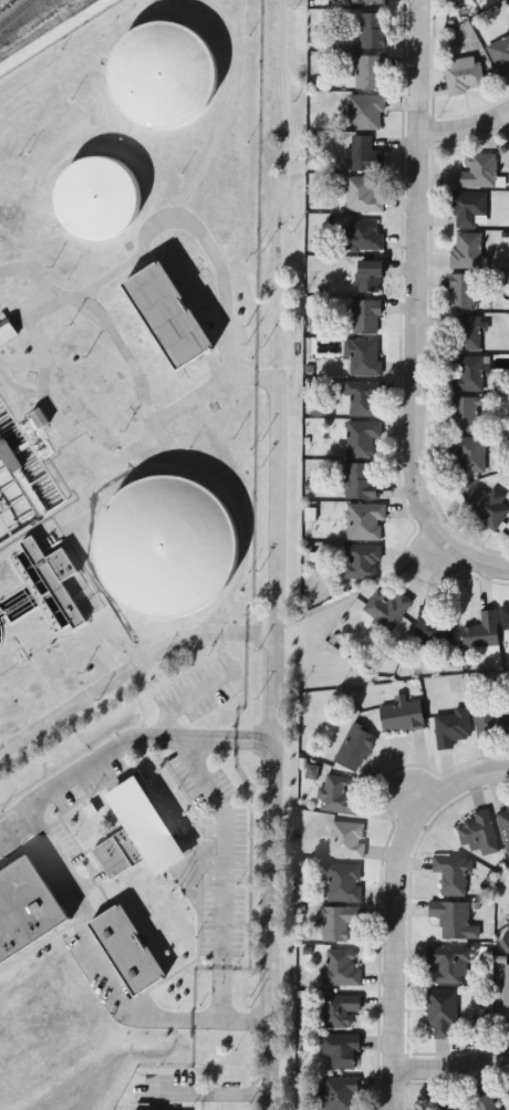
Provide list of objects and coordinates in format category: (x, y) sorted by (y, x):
building: (469, 0)
building: (367, 1)
railway: (14, 12)
building: (372, 31)
building: (500, 55)
building: (168, 60)
silo: (168, 60)
building: (368, 72)
building: (464, 75)
building: (365, 113)
road: (465, 136)
building: (365, 156)
building: (478, 173)
building: (107, 185)
silo: (107, 185)
building: (362, 196)
building: (469, 210)
building: (361, 237)
building: (466, 251)
building: (367, 278)
building: (461, 293)
building: (177, 299)
road: (413, 314)
building: (365, 319)
building: (6, 332)
building: (466, 333)
building: (362, 359)
building: (468, 376)
building: (363, 400)
building: (464, 414)
building: (361, 439)
building: (468, 454)
building: (8, 457)
building: (359, 483)
building: (486, 508)
building: (365, 522)
wastewater plant: (122, 533)
building: (175, 536)
silo: (175, 536)
building: (361, 562)
road: (277, 574)
road: (419, 578)
building: (54, 581)
building: (386, 606)
building: (505, 616)
building: (433, 627)
building: (481, 633)
building: (401, 717)
building: (491, 720)
building: (450, 728)
building: (355, 748)
road: (395, 788)
building: (337, 796)
building: (143, 826)
building: (503, 826)
building: (478, 833)
building: (347, 840)
building: (453, 874)
road: (387, 880)
building: (344, 883)
building: (29, 896)
building: (453, 921)
building: (337, 923)
building: (508, 924)
building: (133, 938)
building: (449, 964)
building: (340, 968)
building: (506, 987)
building: (339, 1012)
building: (440, 1014)
building: (340, 1051)
road: (449, 1064)
road: (387, 1087)
building: (334, 1095)
building: (485, 1102)
building: (156, 1106)
building: (448, 1107)

